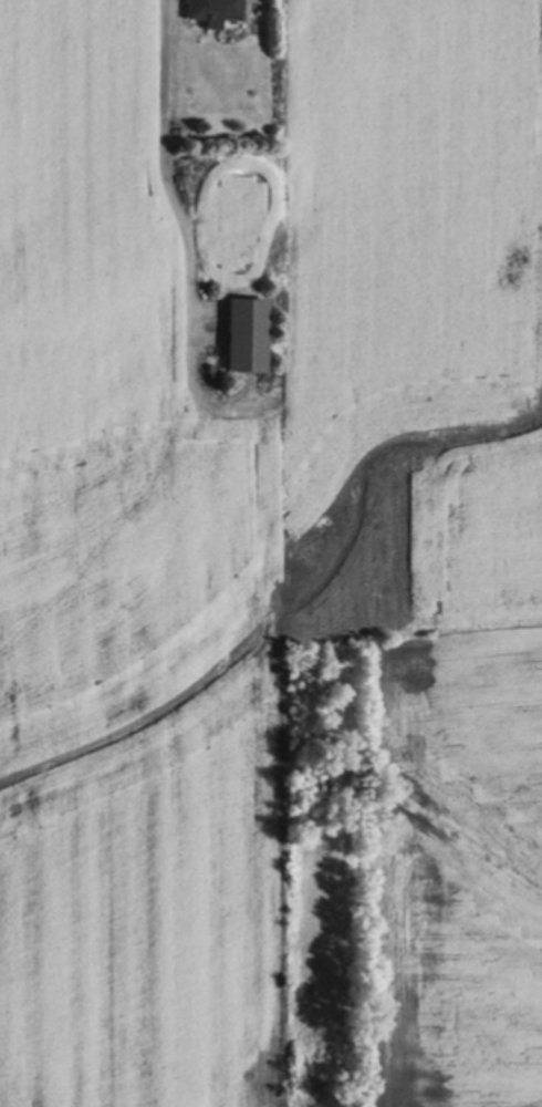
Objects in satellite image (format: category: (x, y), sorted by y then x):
building: (210, 11)
building: (243, 335)
crop: (237, 507)

